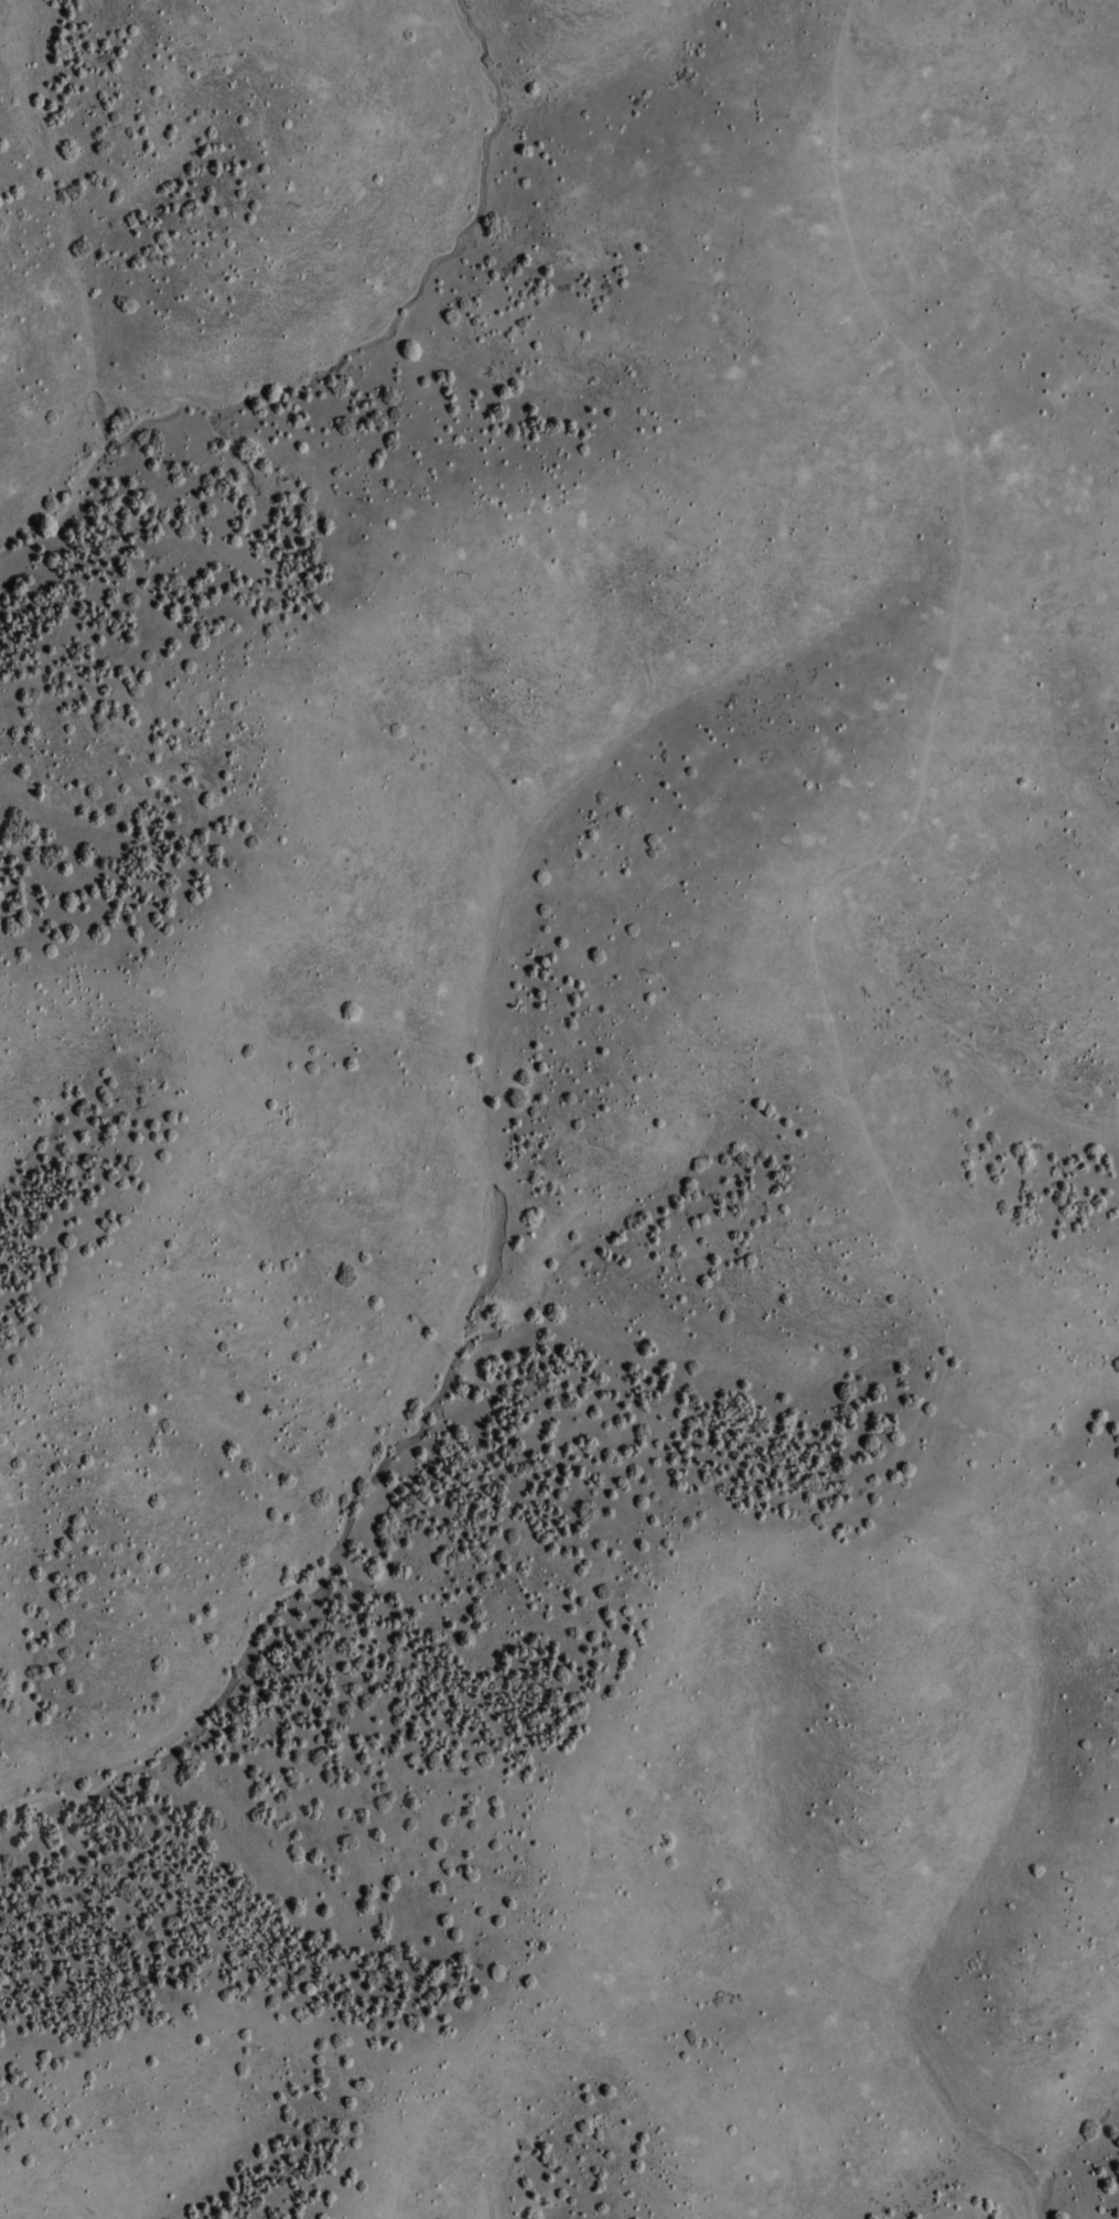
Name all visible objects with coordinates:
road: (803, 139)

